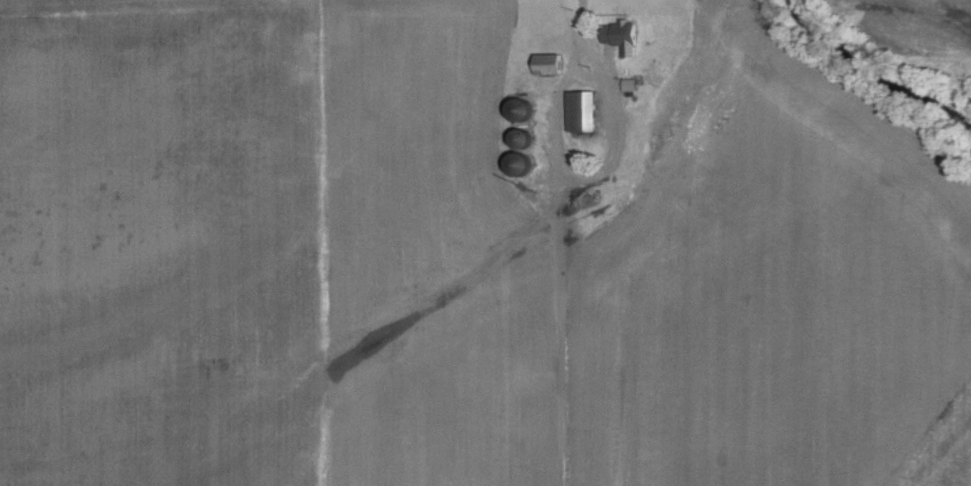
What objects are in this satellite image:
road: (580, 33)
building: (626, 33)
building: (552, 64)
building: (633, 85)
building: (587, 111)
road: (571, 173)

